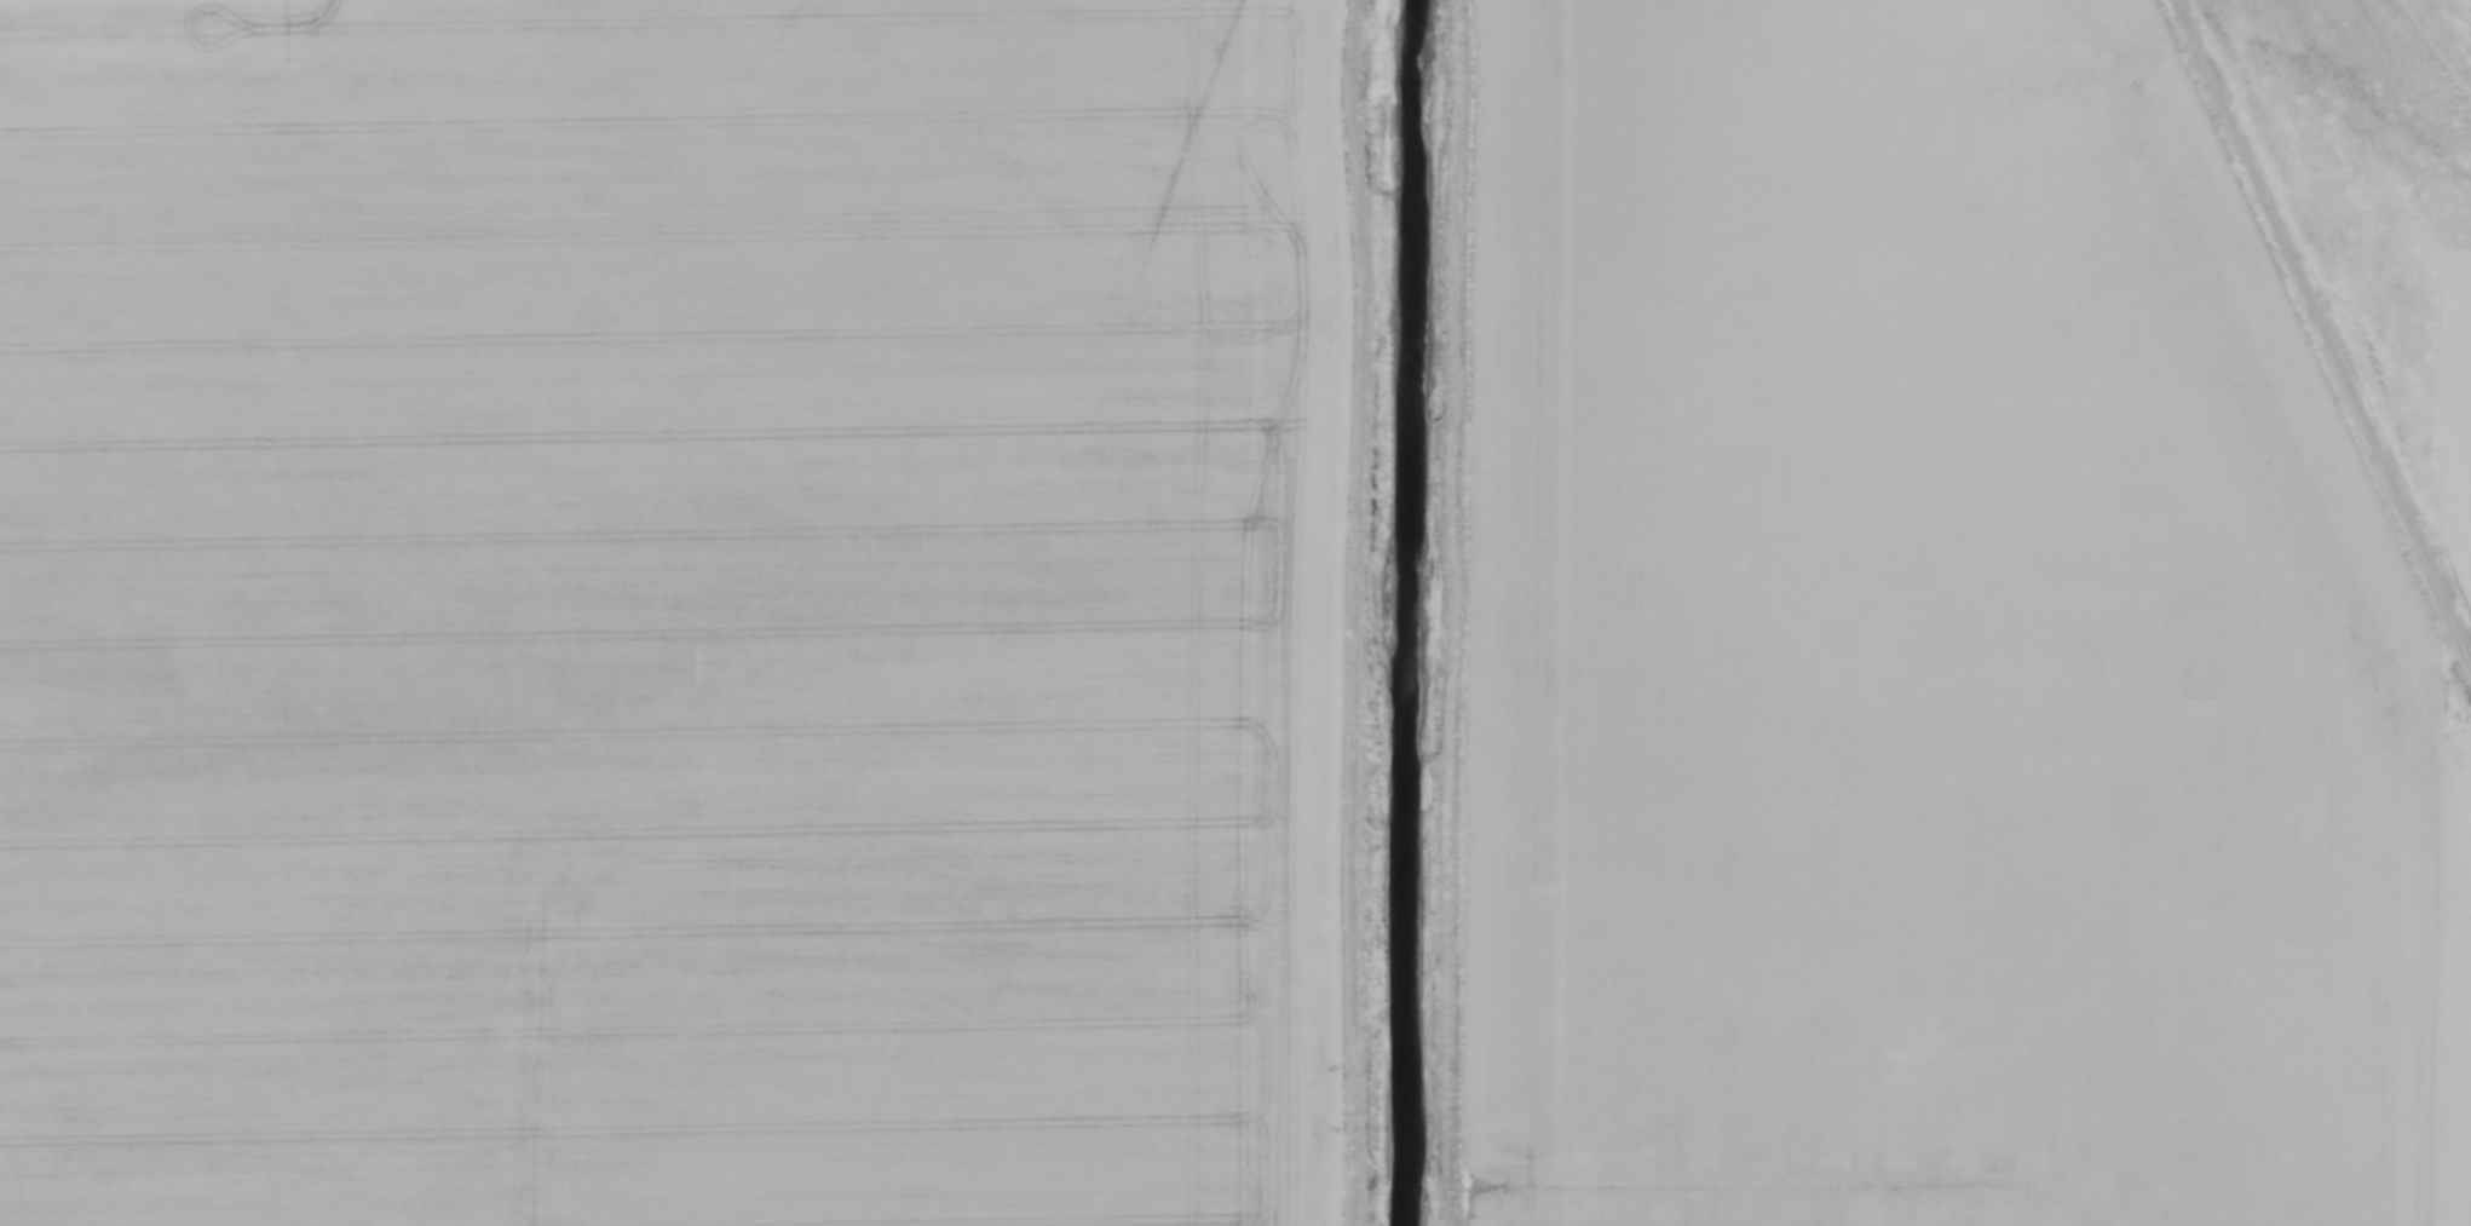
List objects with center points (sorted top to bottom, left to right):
road: (2321, 329)

